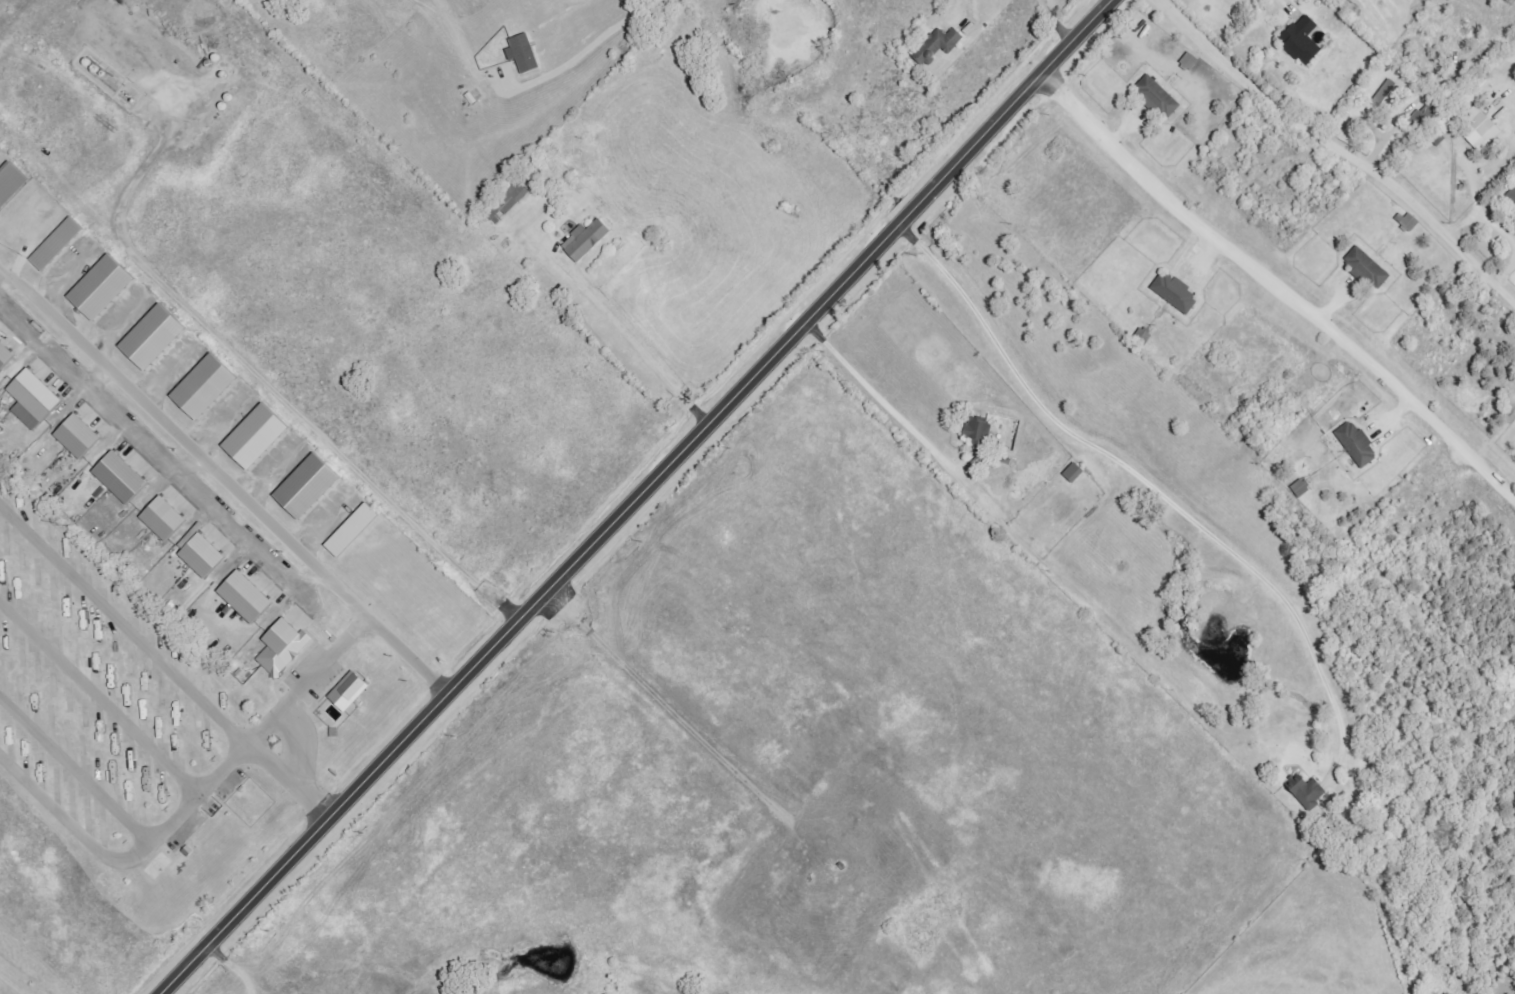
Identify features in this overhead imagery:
road: (967, 2)
road: (1062, 20)
building: (1299, 40)
building: (940, 44)
building: (527, 53)
building: (1187, 62)
building: (1155, 97)
building: (1383, 100)
building: (1424, 114)
building: (1476, 128)
road: (1337, 147)
building: (9, 181)
building: (1511, 197)
building: (506, 202)
building: (583, 240)
building: (53, 243)
building: (1364, 269)
road: (1281, 278)
building: (96, 287)
building: (1172, 292)
building: (148, 337)
building: (3, 355)
building: (200, 387)
road: (888, 394)
building: (29, 399)
building: (74, 436)
building: (251, 436)
building: (1354, 444)
building: (1071, 473)
road: (1147, 473)
building: (116, 477)
road: (223, 477)
building: (302, 486)
building: (1299, 488)
road: (634, 497)
building: (159, 518)
building: (348, 530)
building: (197, 551)
building: (241, 597)
building: (280, 647)
road: (162, 662)
building: (345, 692)
road: (99, 698)
road: (296, 742)
road: (74, 772)
building: (1306, 793)
road: (191, 799)

